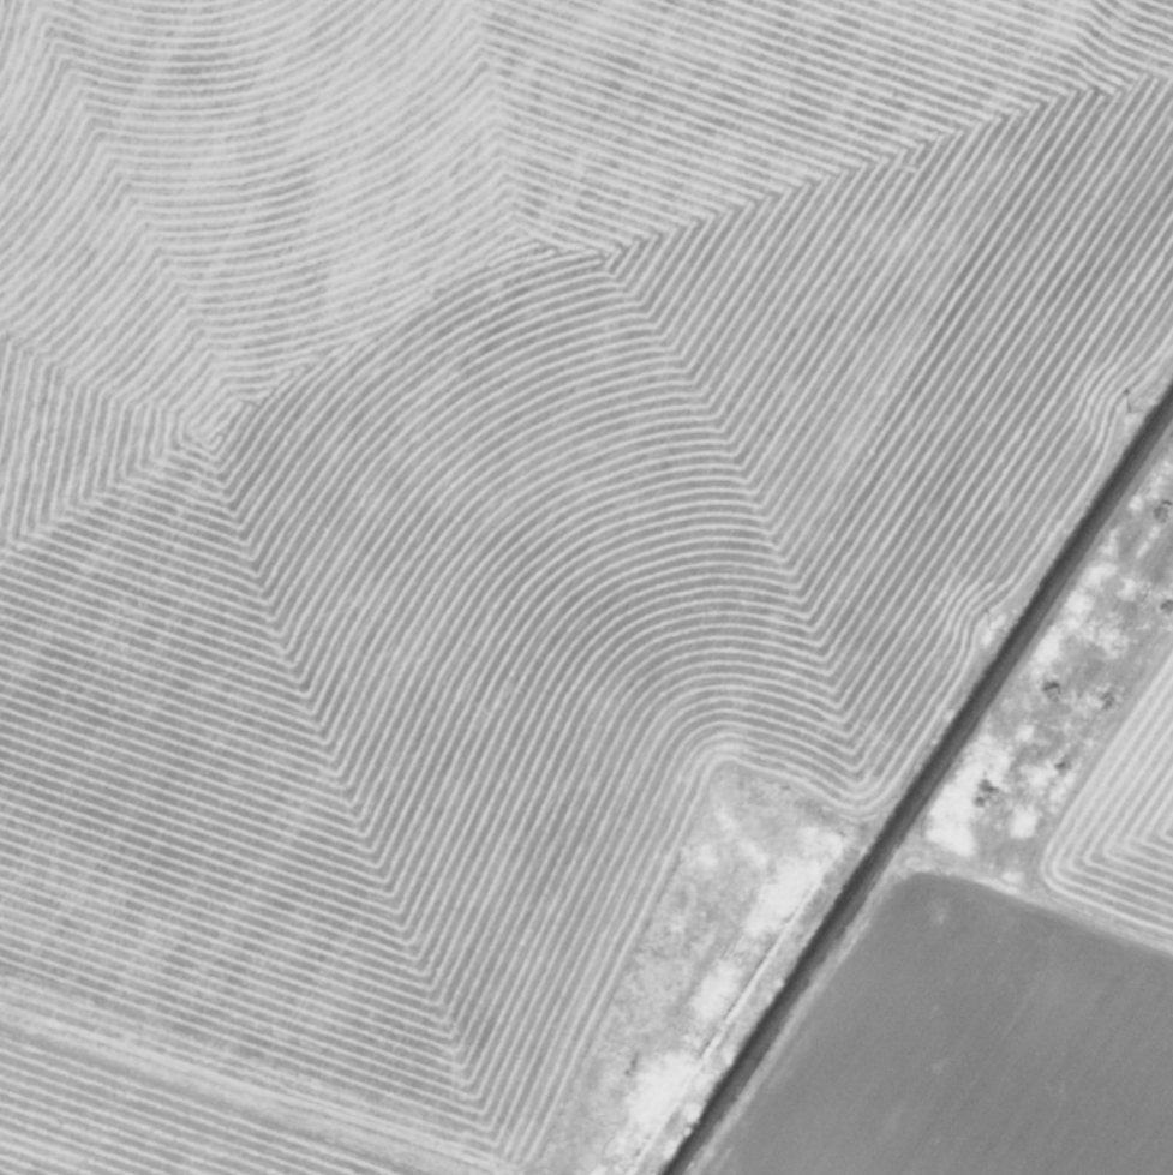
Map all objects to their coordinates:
crop: (507, 527)
railway: (920, 783)
crop: (1013, 928)

